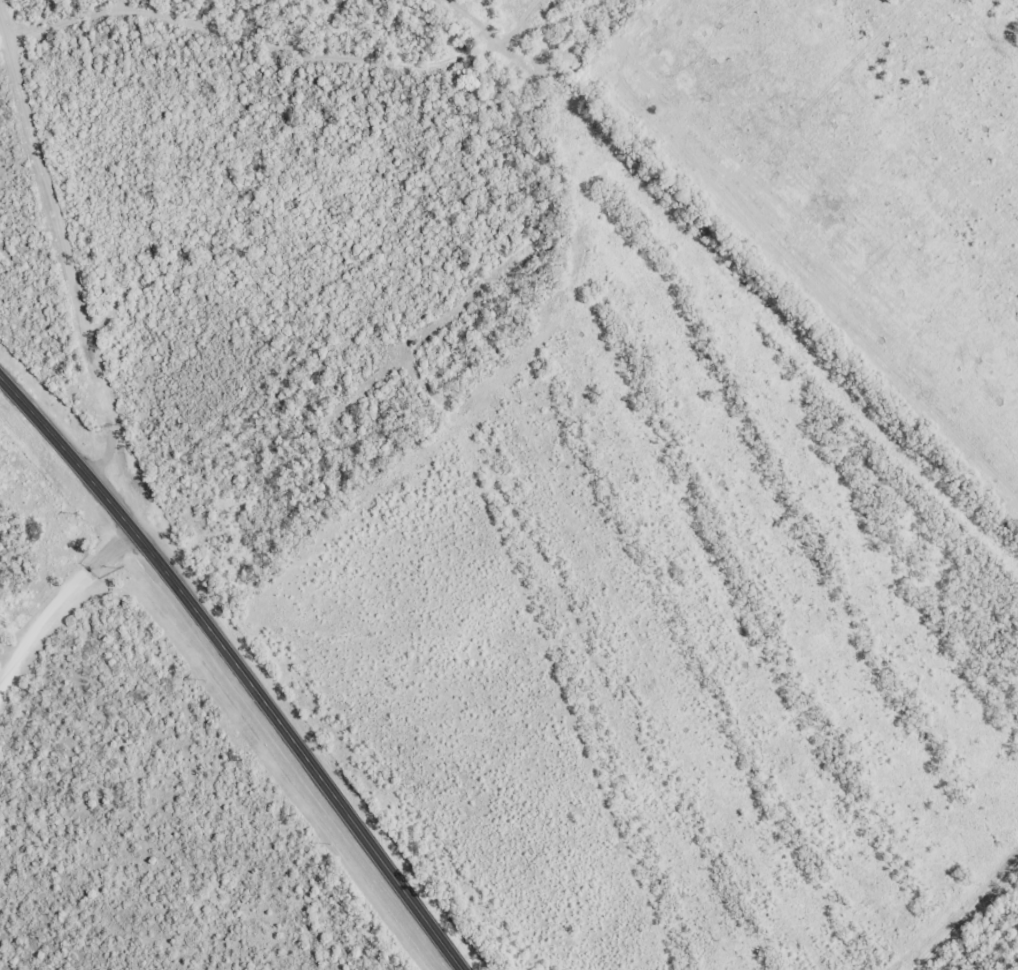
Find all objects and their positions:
road: (70, 290)
road: (70, 630)
road: (237, 669)

